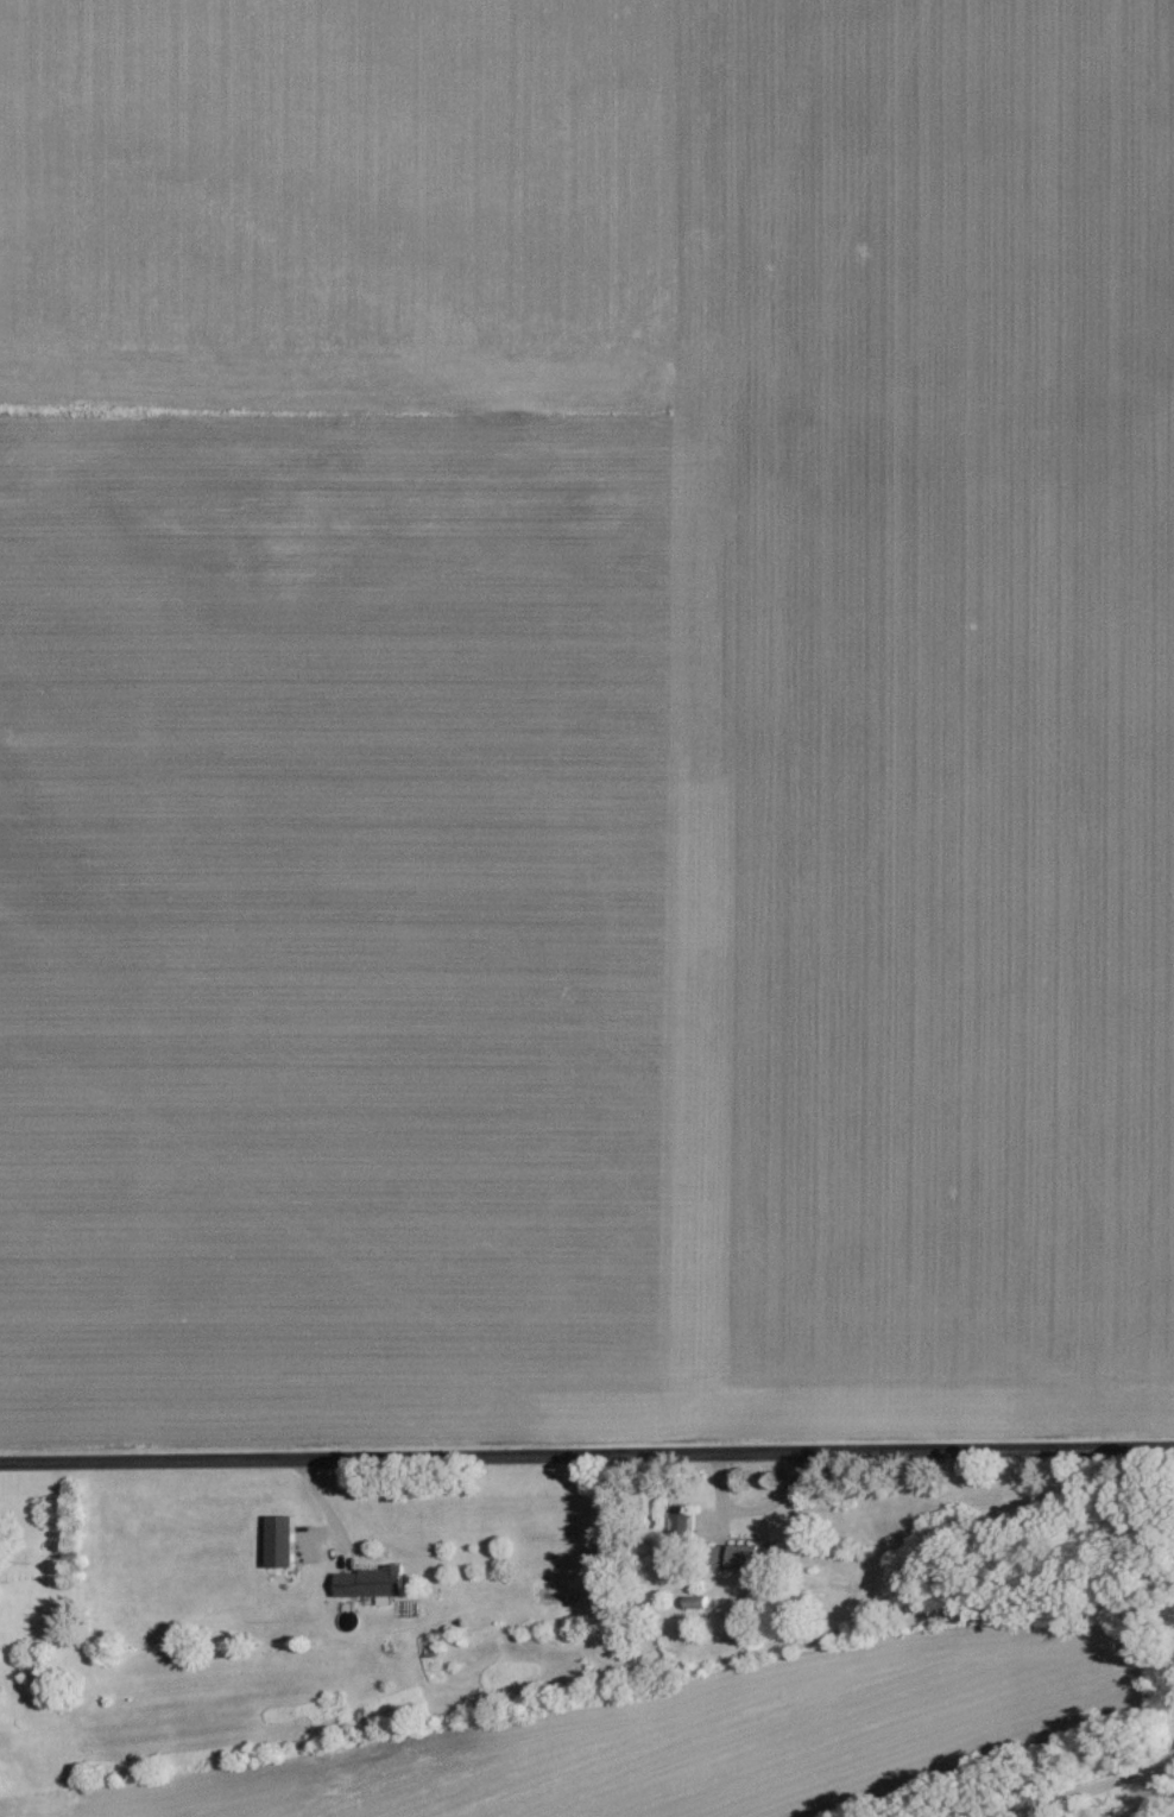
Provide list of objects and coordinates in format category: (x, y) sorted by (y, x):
road: (587, 1451)
building: (681, 1522)
building: (280, 1541)
building: (749, 1557)
building: (372, 1583)
building: (698, 1602)
road: (1094, 1787)
road: (1153, 1791)

